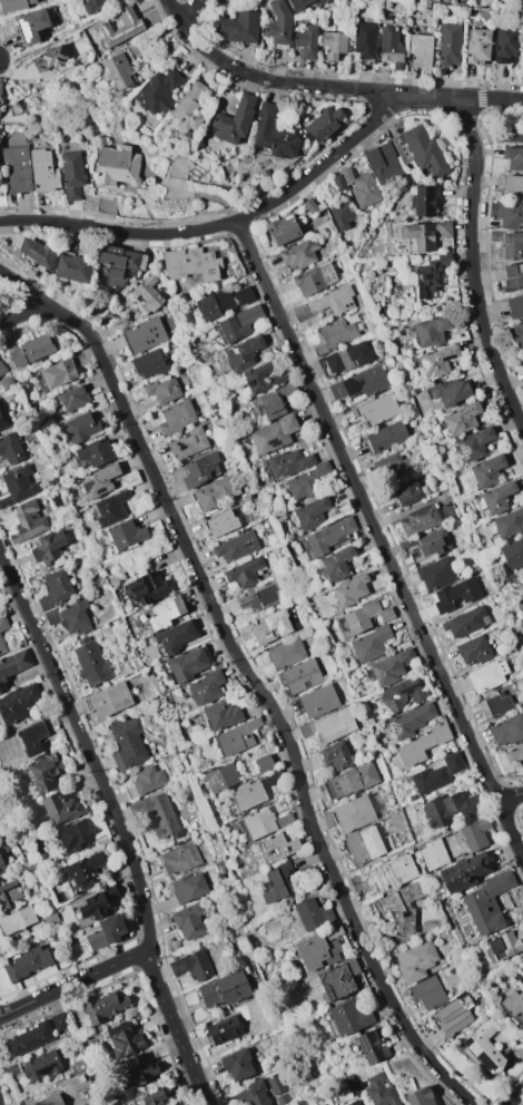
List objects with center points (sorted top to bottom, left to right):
building: (300, 3)
building: (16, 4)
road: (193, 8)
building: (277, 22)
building: (32, 25)
building: (118, 27)
building: (238, 27)
road: (69, 36)
building: (364, 40)
building: (305, 41)
building: (333, 43)
building: (448, 45)
building: (504, 45)
building: (476, 46)
building: (389, 47)
building: (420, 50)
building: (49, 59)
building: (118, 71)
road: (296, 84)
building: (157, 92)
road: (490, 97)
building: (1, 99)
building: (187, 107)
building: (234, 120)
building: (323, 123)
building: (273, 133)
building: (512, 134)
building: (424, 150)
building: (513, 158)
building: (383, 163)
building: (116, 165)
building: (17, 168)
building: (42, 170)
building: (70, 175)
building: (512, 186)
building: (364, 190)
building: (424, 201)
building: (342, 213)
building: (506, 215)
road: (223, 224)
building: (442, 228)
building: (283, 229)
building: (417, 236)
building: (509, 244)
building: (34, 252)
building: (298, 254)
road: (474, 258)
building: (190, 263)
building: (118, 264)
building: (72, 268)
building: (513, 275)
building: (427, 276)
building: (308, 282)
building: (146, 293)
building: (243, 295)
building: (334, 301)
building: (213, 304)
building: (514, 305)
road: (24, 314)
building: (236, 324)
building: (431, 331)
building: (336, 333)
building: (144, 334)
building: (519, 334)
building: (30, 351)
building: (243, 353)
building: (346, 358)
building: (438, 361)
building: (148, 364)
building: (2, 371)
building: (57, 373)
building: (259, 379)
building: (358, 383)
building: (162, 390)
building: (450, 391)
building: (72, 398)
building: (268, 404)
building: (374, 410)
building: (3, 417)
building: (176, 417)
building: (461, 419)
building: (80, 427)
building: (273, 434)
building: (385, 437)
building: (186, 443)
building: (473, 444)
building: (9, 449)
building: (93, 452)
building: (288, 462)
building: (392, 467)
building: (198, 469)
building: (486, 470)
building: (306, 480)
building: (98, 481)
building: (17, 485)
building: (215, 492)
building: (406, 492)
building: (494, 498)
building: (109, 508)
building: (310, 512)
building: (28, 519)
building: (418, 520)
building: (221, 522)
building: (509, 524)
building: (125, 535)
building: (328, 536)
road: (381, 539)
building: (432, 542)
building: (48, 547)
building: (235, 547)
building: (512, 552)
building: (335, 564)
building: (522, 570)
building: (243, 573)
building: (435, 573)
building: (55, 588)
building: (146, 588)
building: (349, 589)
building: (454, 594)
building: (257, 598)
building: (522, 602)
building: (165, 612)
building: (70, 619)
building: (465, 622)
building: (2, 624)
building: (269, 627)
building: (174, 637)
building: (369, 644)
building: (1, 647)
building: (472, 651)
building: (285, 653)
building: (88, 662)
building: (187, 664)
building: (12, 666)
building: (389, 667)
building: (487, 675)
road: (250, 676)
building: (299, 676)
building: (205, 687)
building: (401, 695)
building: (109, 700)
building: (317, 701)
building: (17, 703)
building: (494, 704)
building: (220, 714)
building: (409, 721)
building: (334, 725)
building: (506, 730)
building: (29, 737)
building: (236, 737)
building: (126, 743)
building: (420, 745)
building: (513, 753)
building: (335, 754)
building: (263, 762)
building: (452, 763)
building: (43, 772)
building: (220, 778)
building: (428, 779)
building: (144, 781)
building: (347, 781)
building: (247, 795)
road: (510, 795)
building: (59, 808)
building: (448, 808)
building: (353, 813)
building: (156, 814)
road: (119, 823)
building: (255, 824)
building: (474, 833)
building: (73, 835)
building: (363, 845)
building: (277, 847)
building: (432, 853)
building: (179, 858)
building: (1, 866)
building: (398, 870)
building: (82, 871)
building: (463, 872)
building: (276, 882)
building: (187, 887)
building: (8, 894)
building: (97, 902)
building: (485, 903)
building: (401, 906)
building: (313, 913)
building: (16, 920)
building: (188, 921)
road: (231, 930)
building: (106, 931)
building: (332, 932)
building: (505, 943)
building: (316, 952)
building: (414, 960)
building: (26, 962)
building: (191, 966)
building: (336, 980)
building: (521, 981)
road: (73, 984)
building: (223, 990)
building: (426, 992)
building: (513, 1003)
building: (105, 1005)
building: (348, 1017)
building: (451, 1017)
building: (58, 1020)
building: (223, 1029)
building: (28, 1038)
building: (124, 1039)
building: (483, 1046)
building: (371, 1047)
building: (236, 1065)
building: (40, 1066)
building: (138, 1070)
building: (274, 1083)
building: (379, 1089)
building: (251, 1095)
building: (420, 1097)
road: (515, 1097)
building: (150, 1098)
building: (49, 1101)
building: (352, 1103)
building: (327, 1104)

